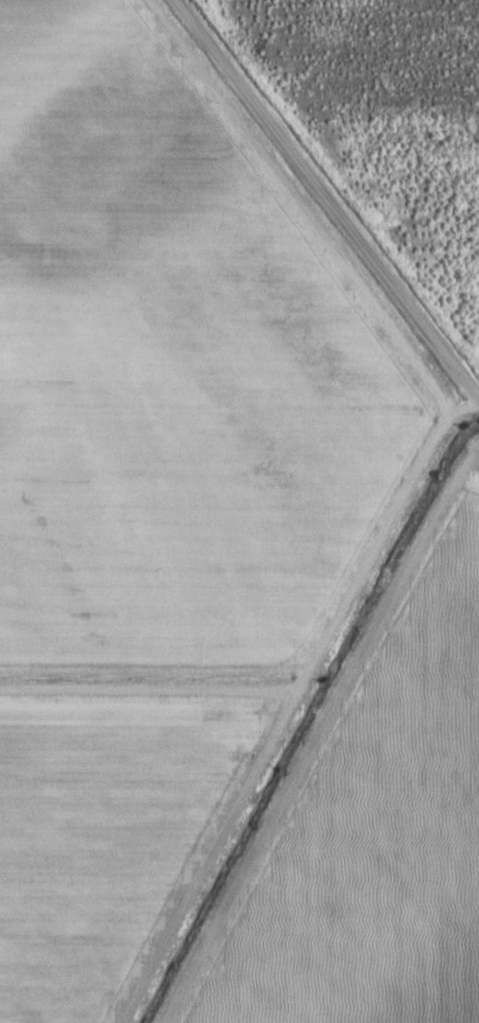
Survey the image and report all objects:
road: (324, 202)

